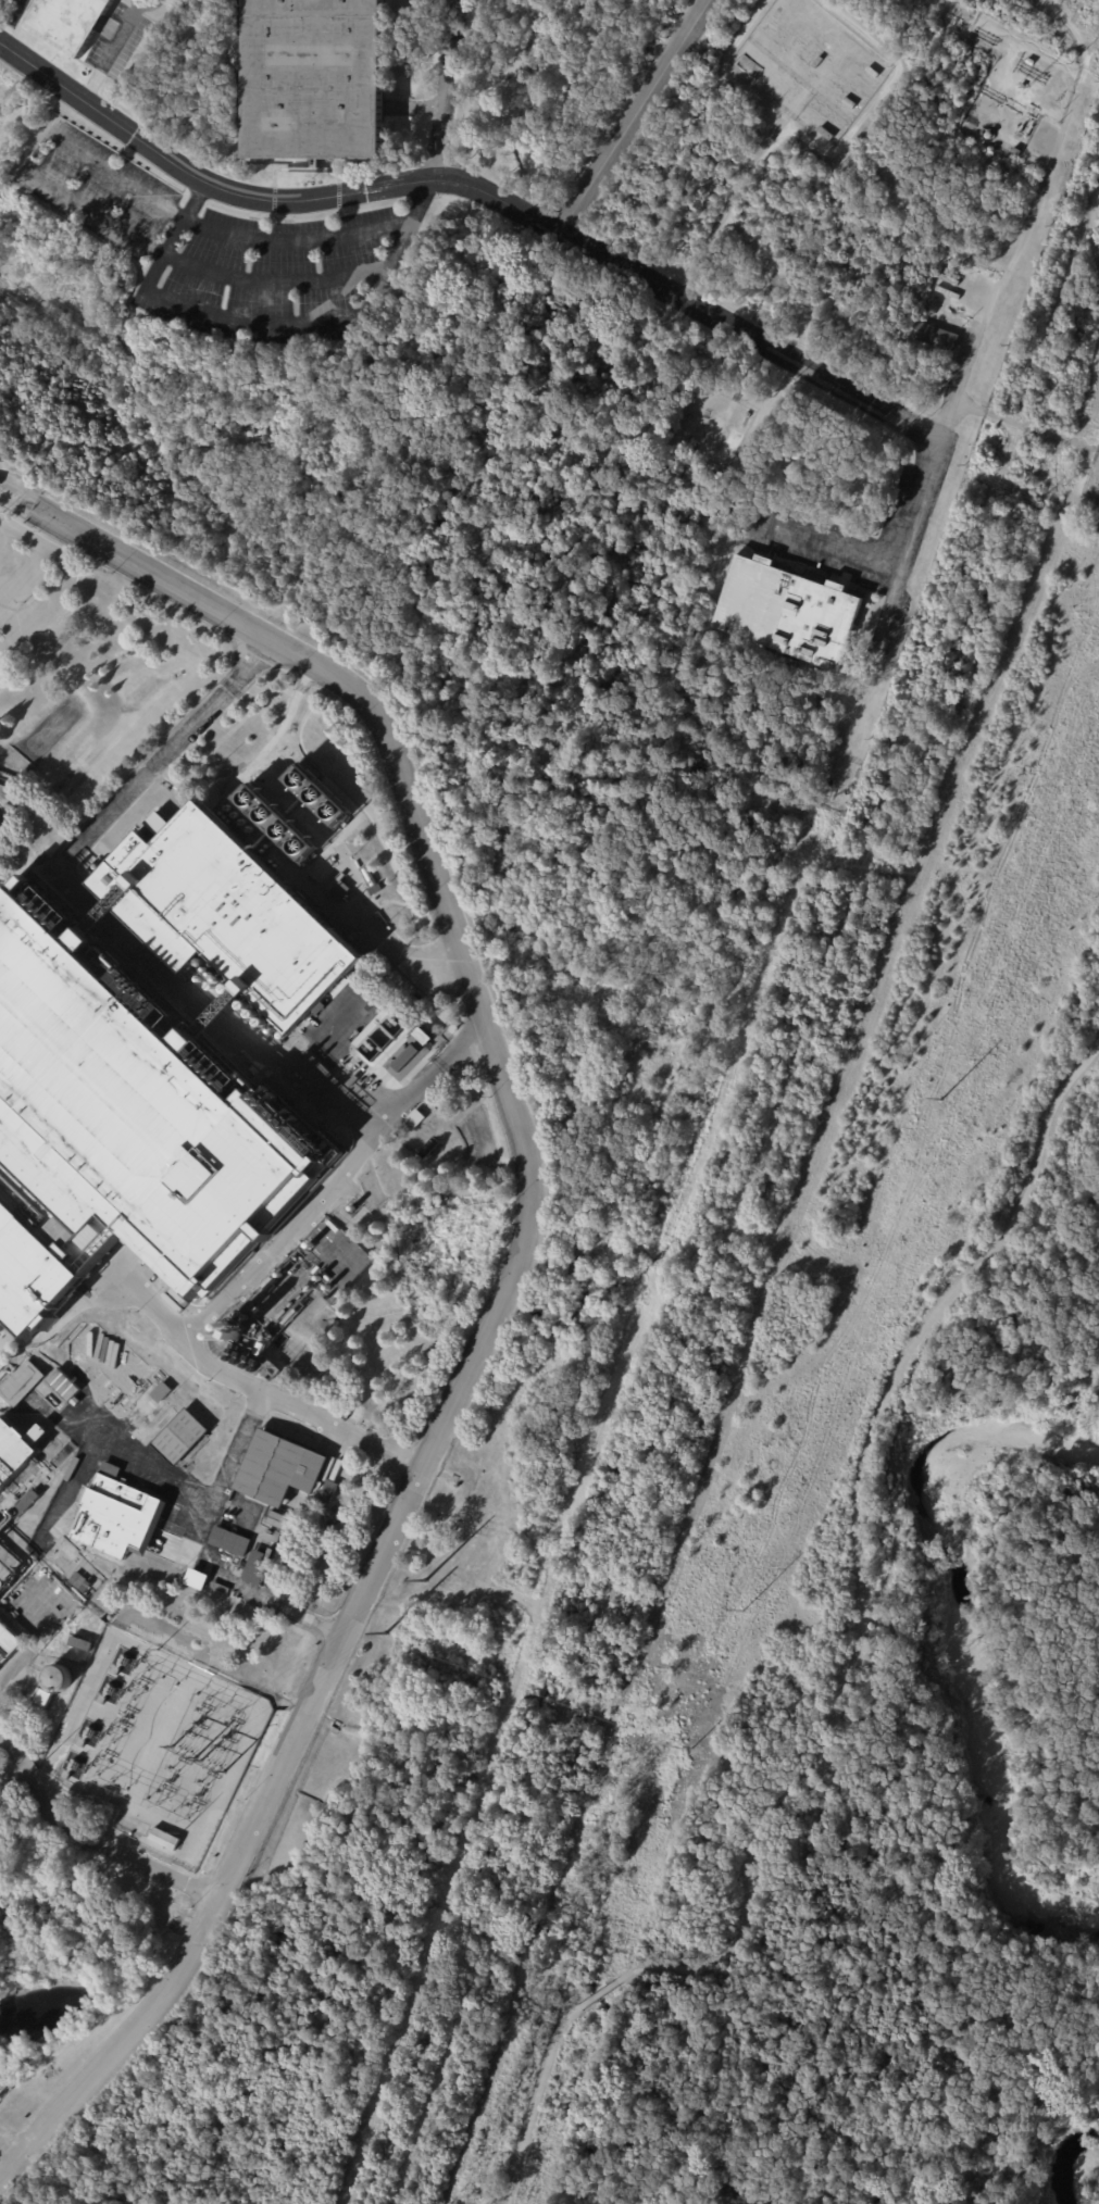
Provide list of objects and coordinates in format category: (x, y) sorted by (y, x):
road: (152, 5)
building: (68, 23)
road: (116, 52)
building: (1031, 62)
building: (312, 79)
building: (1022, 86)
road: (416, 102)
road: (632, 114)
road: (1060, 139)
road: (33, 150)
building: (1016, 151)
road: (433, 163)
road: (483, 188)
road: (1095, 189)
road: (1092, 229)
road: (175, 236)
building: (953, 267)
building: (977, 270)
building: (947, 279)
building: (779, 280)
building: (946, 290)
building: (937, 314)
road: (253, 322)
building: (936, 337)
building: (704, 393)
building: (700, 401)
building: (746, 418)
building: (733, 442)
building: (702, 449)
building: (709, 451)
road: (927, 460)
building: (734, 514)
road: (4, 530)
road: (45, 547)
road: (22, 569)
building: (789, 611)
road: (32, 618)
building: (891, 636)
road: (167, 755)
building: (175, 792)
building: (316, 793)
building: (274, 823)
road: (2, 828)
road: (29, 846)
building: (327, 869)
building: (375, 888)
building: (338, 889)
building: (224, 912)
building: (371, 1014)
building: (409, 1056)
power tower: (944, 1100)
building: (416, 1117)
building: (115, 1136)
road: (511, 1279)
road: (240, 1280)
building: (271, 1283)
road: (148, 1305)
building: (253, 1305)
building: (258, 1310)
building: (238, 1332)
building: (261, 1348)
building: (20, 1382)
building: (63, 1386)
building: (160, 1391)
building: (364, 1423)
building: (178, 1436)
building: (14, 1458)
building: (278, 1467)
building: (328, 1490)
building: (25, 1502)
building: (114, 1513)
building: (4, 1518)
building: (279, 1520)
road: (857, 1540)
building: (241, 1552)
building: (2, 1560)
building: (196, 1578)
power tower: (424, 1579)
building: (220, 1587)
power tower: (744, 1610)
power tower: (384, 1632)
building: (8, 1642)
building: (80, 1643)
building: (121, 1664)
building: (55, 1676)
building: (107, 1693)
building: (43, 1698)
building: (86, 1737)
power tower: (691, 1748)
power substation: (164, 1750)
building: (71, 1768)
building: (164, 1840)
road: (88, 1841)
road: (598, 1994)
road: (534, 2102)
road: (7, 2151)

